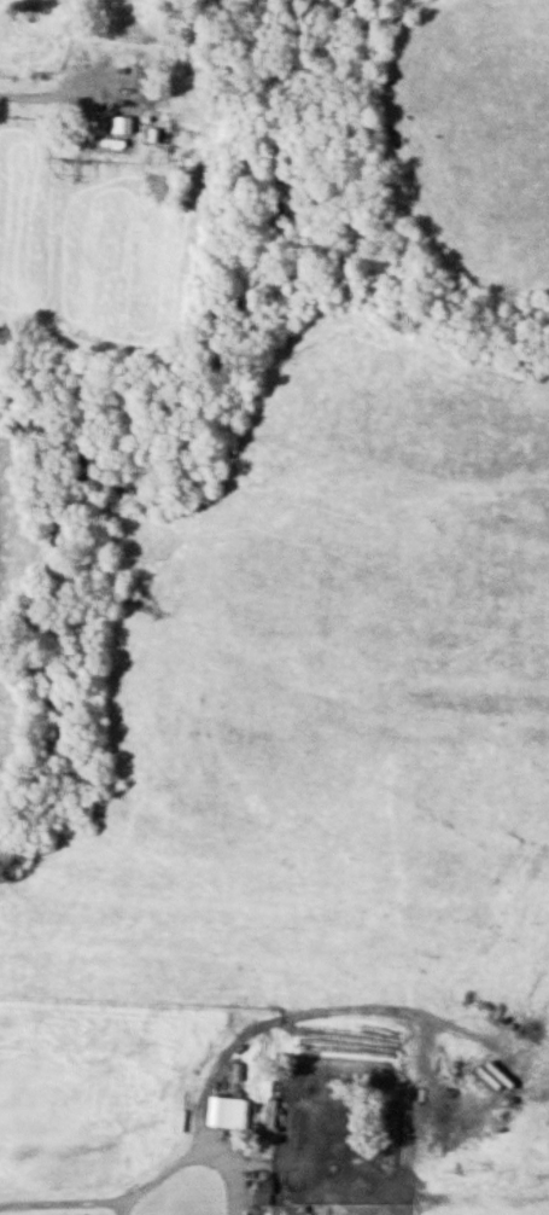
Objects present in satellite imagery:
building: (229, 1111)
building: (264, 1187)
building: (263, 1211)

